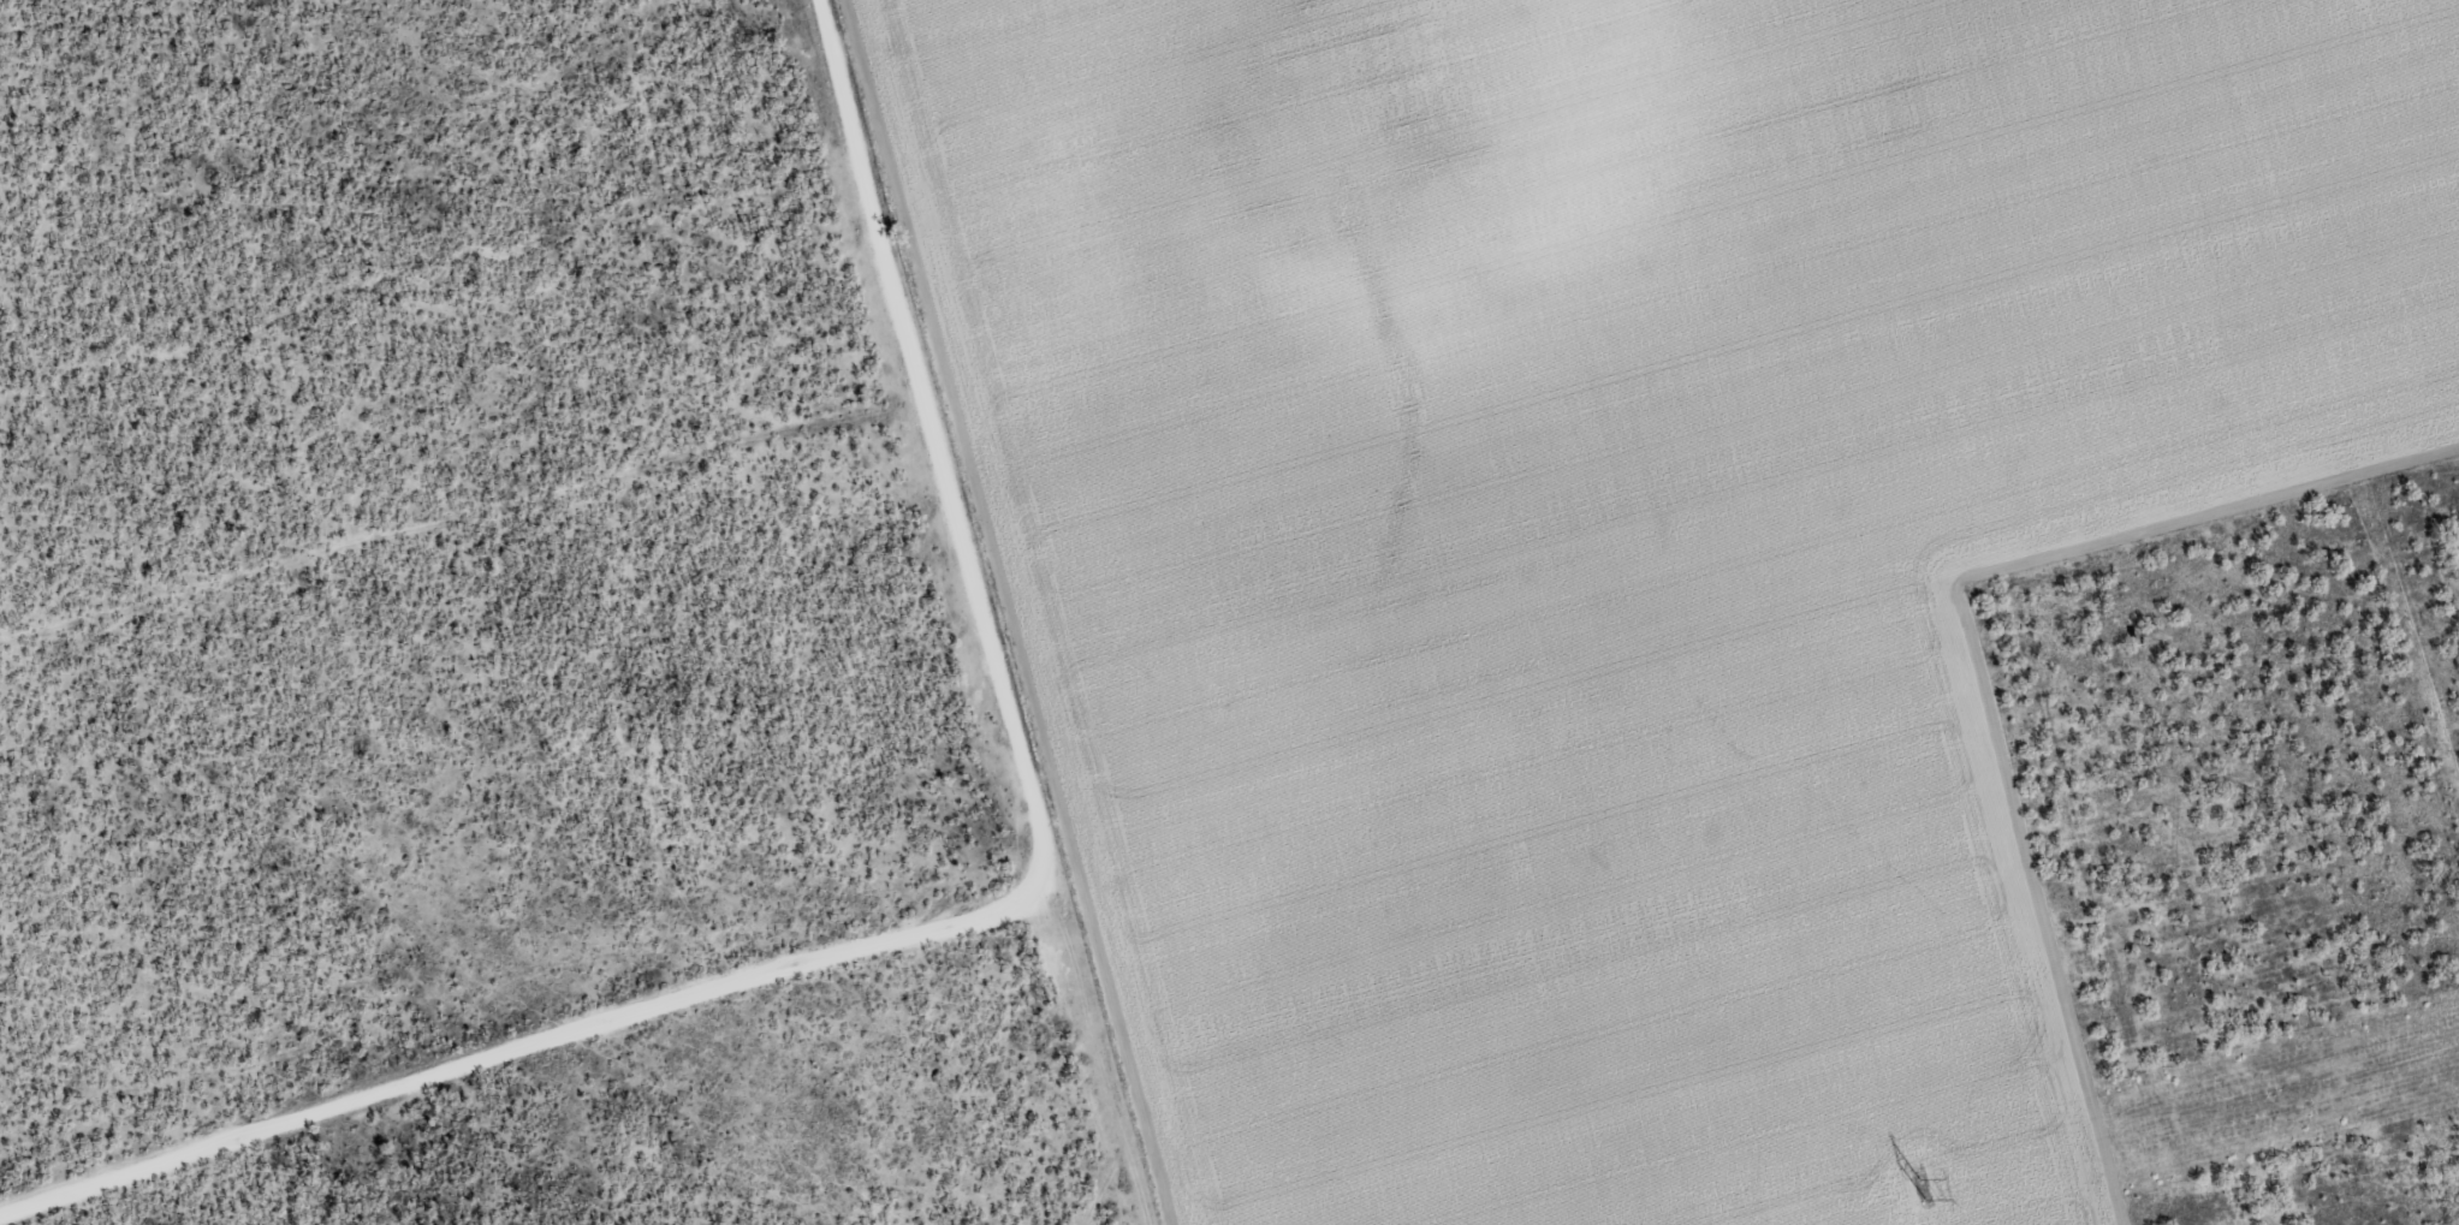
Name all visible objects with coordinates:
power tower: (1919, 1189)

